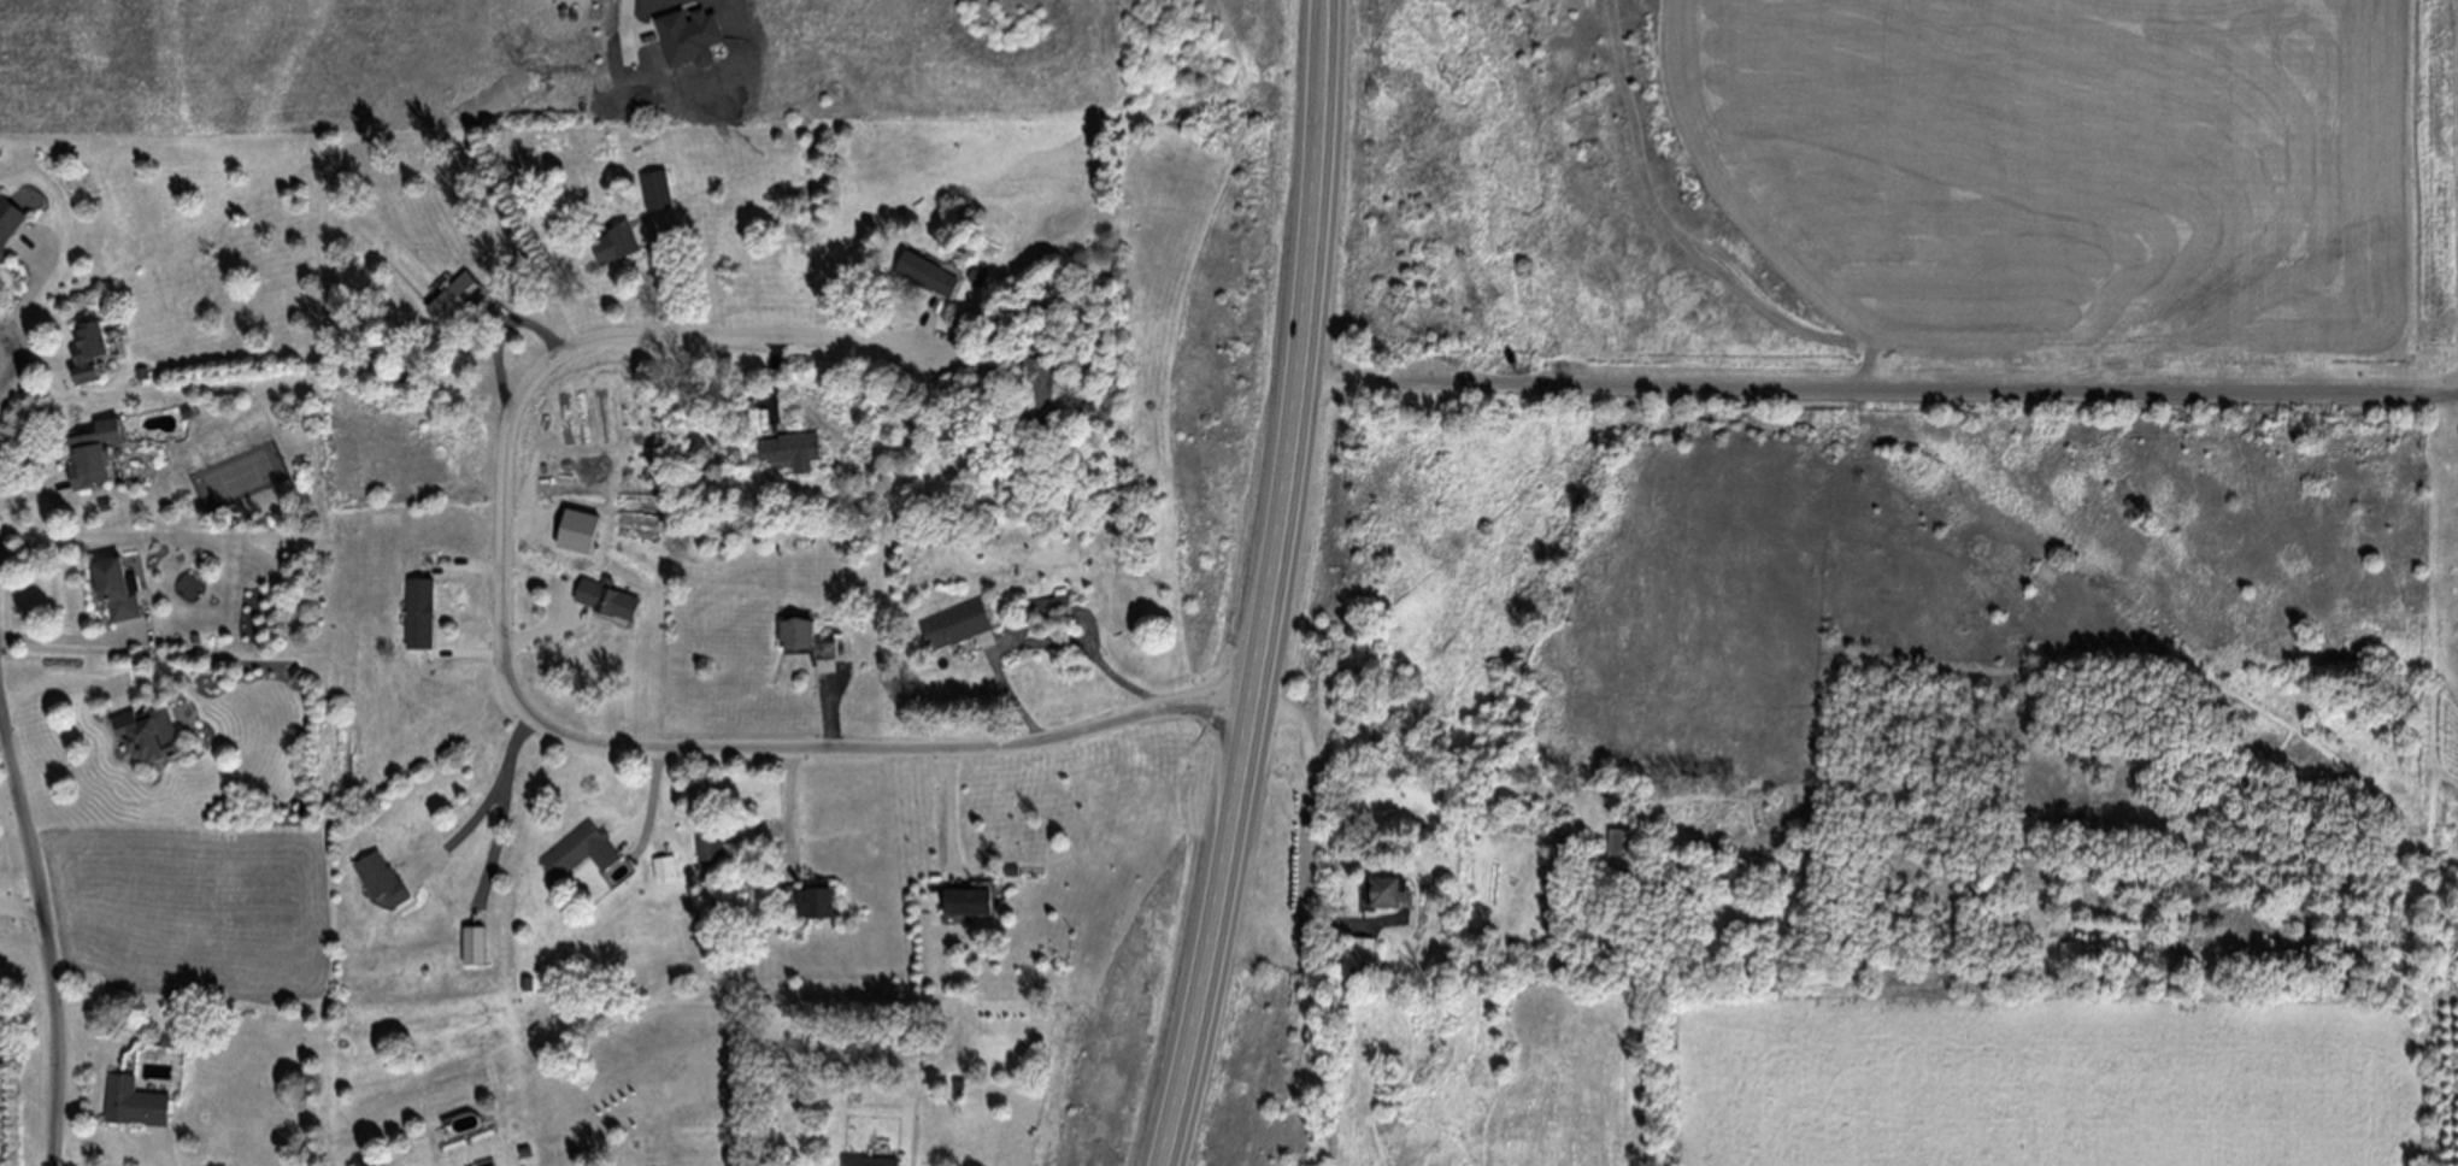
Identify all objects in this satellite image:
building: (657, 189)
building: (7, 219)
building: (616, 243)
building: (924, 271)
road: (672, 277)
road: (30, 293)
building: (451, 299)
road: (928, 324)
road: (501, 330)
building: (86, 349)
road: (31, 359)
road: (963, 359)
road: (775, 381)
road: (1878, 387)
building: (1033, 393)
building: (794, 449)
building: (95, 452)
park: (241, 475)
road: (31, 494)
building: (593, 543)
road: (469, 565)
building: (117, 587)
road: (1275, 587)
building: (607, 599)
building: (1052, 609)
building: (419, 613)
building: (954, 623)
road: (539, 629)
road: (72, 637)
building: (806, 637)
road: (1040, 642)
road: (468, 658)
road: (65, 679)
road: (522, 706)
road: (830, 706)
building: (147, 735)
road: (10, 795)
road: (652, 812)
road: (790, 812)
road: (949, 813)
road: (504, 814)
road: (466, 829)
road: (1309, 835)
building: (710, 843)
building: (572, 847)
building: (1625, 847)
building: (664, 866)
building: (382, 878)
building: (1384, 893)
building: (806, 899)
building: (970, 899)
road: (23, 907)
road: (48, 926)
building: (474, 944)
building: (1364, 948)
building: (134, 1102)
road: (161, 1152)
building: (871, 1161)

